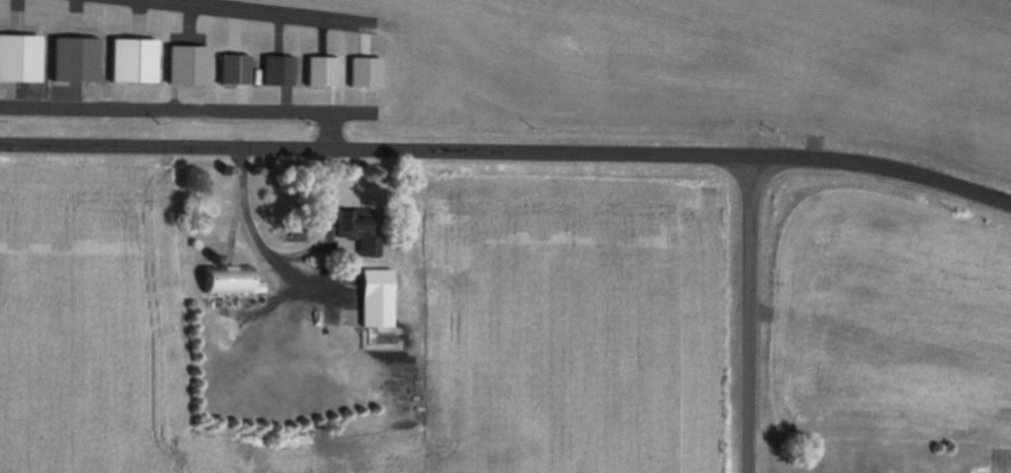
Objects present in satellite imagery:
airport taxiway: (269, 11)
road: (508, 148)
airport: (883, 280)
road: (749, 313)

